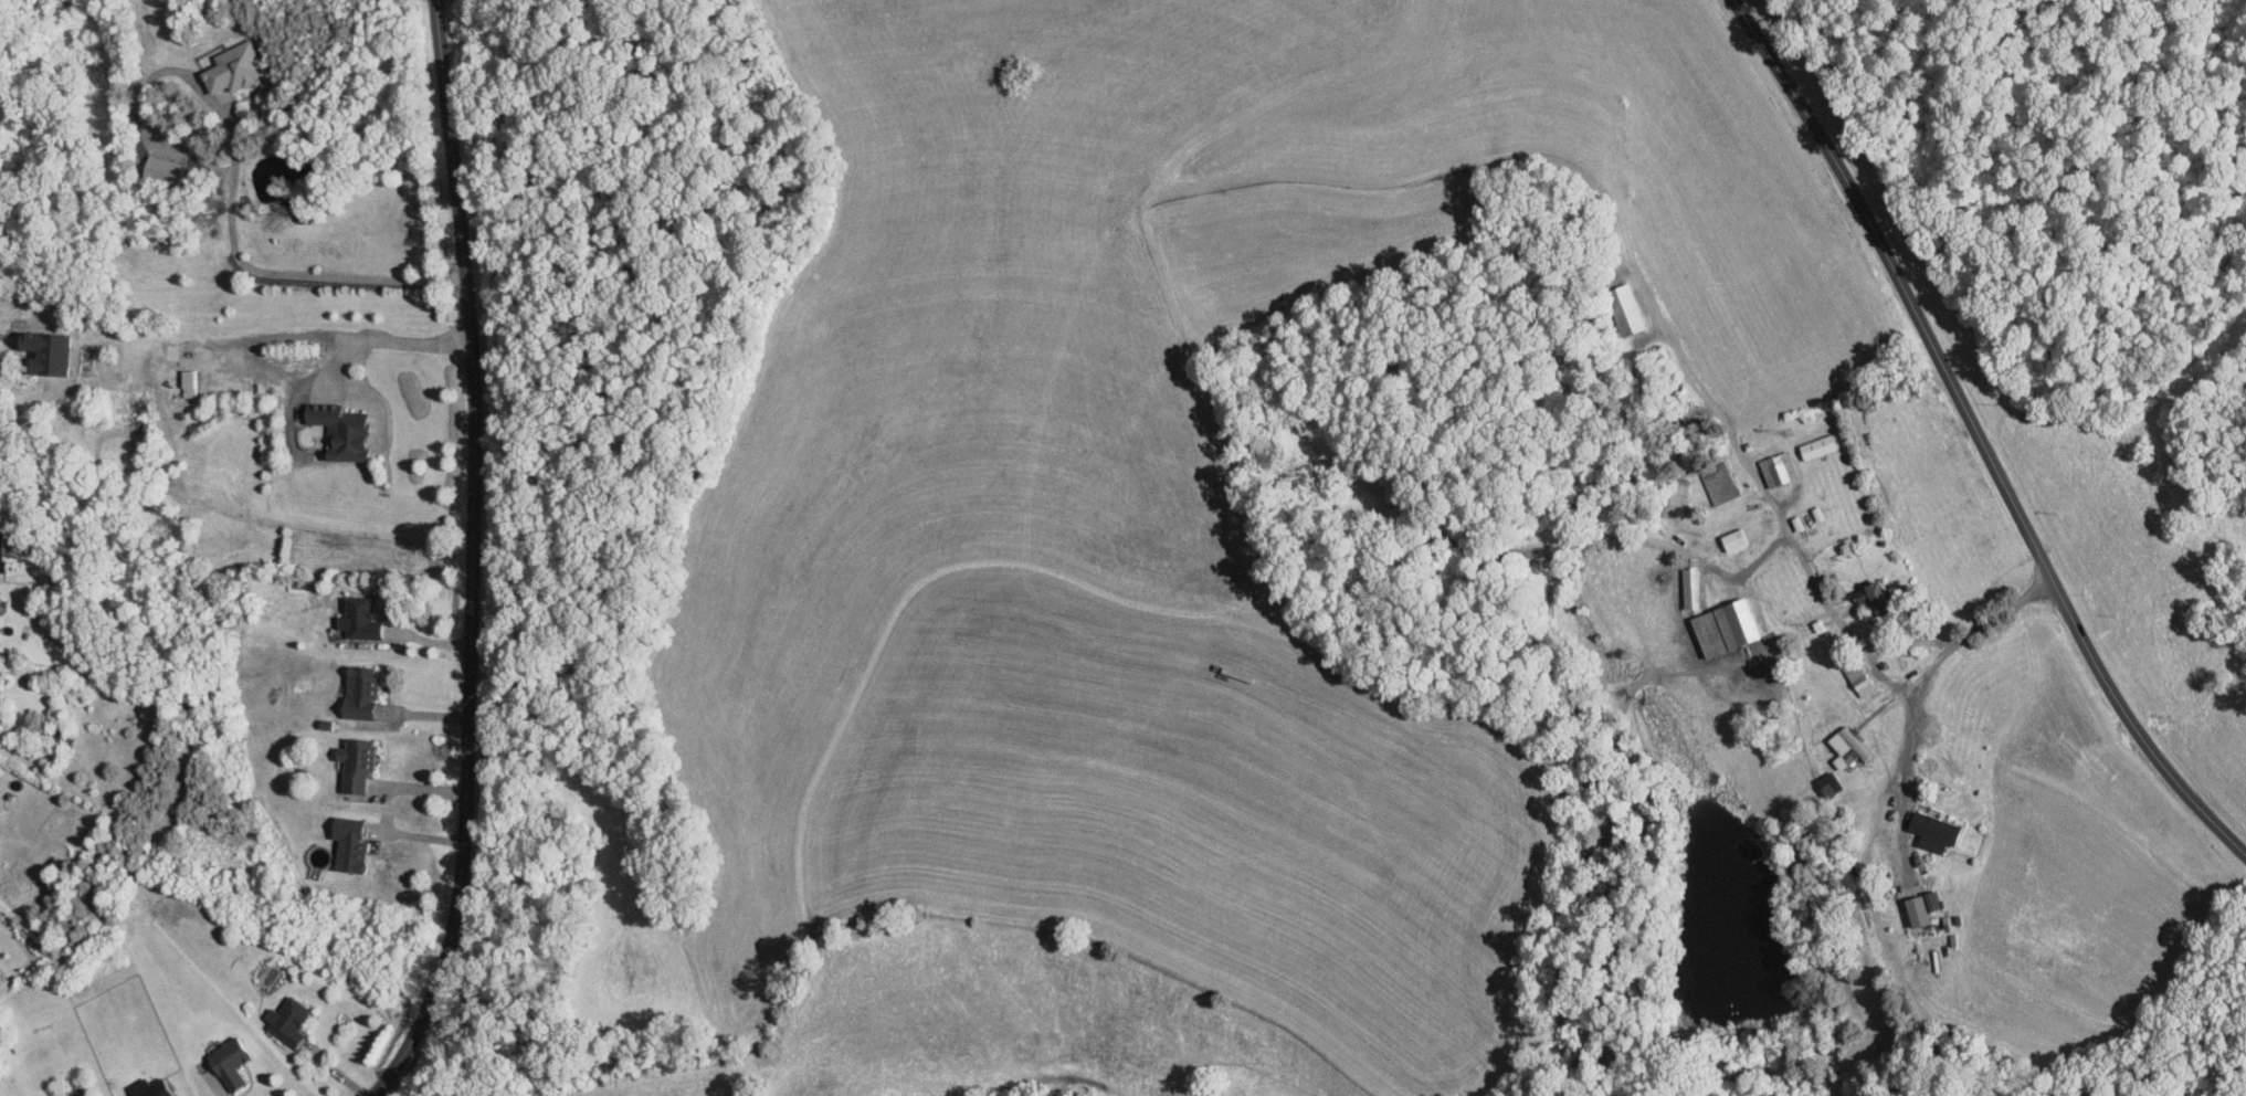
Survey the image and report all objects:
road: (1743, 13)
building: (236, 66)
building: (162, 169)
road: (234, 176)
building: (1625, 308)
road: (274, 334)
road: (396, 340)
building: (187, 381)
building: (337, 428)
building: (1817, 445)
road: (1987, 449)
building: (1776, 467)
building: (1719, 481)
building: (1678, 497)
road: (1768, 499)
building: (1733, 538)
road: (473, 557)
building: (2, 563)
building: (1689, 587)
building: (1870, 596)
building: (357, 618)
road: (1984, 623)
building: (1725, 625)
building: (1857, 677)
building: (356, 691)
road: (425, 713)
building: (1846, 746)
road: (1905, 755)
building: (352, 763)
building: (1827, 783)
building: (1931, 830)
building: (346, 843)
building: (1930, 899)
building: (1915, 909)
building: (284, 1020)
building: (225, 1062)
building: (146, 1088)
road: (221, 1089)
building: (74, 1094)

